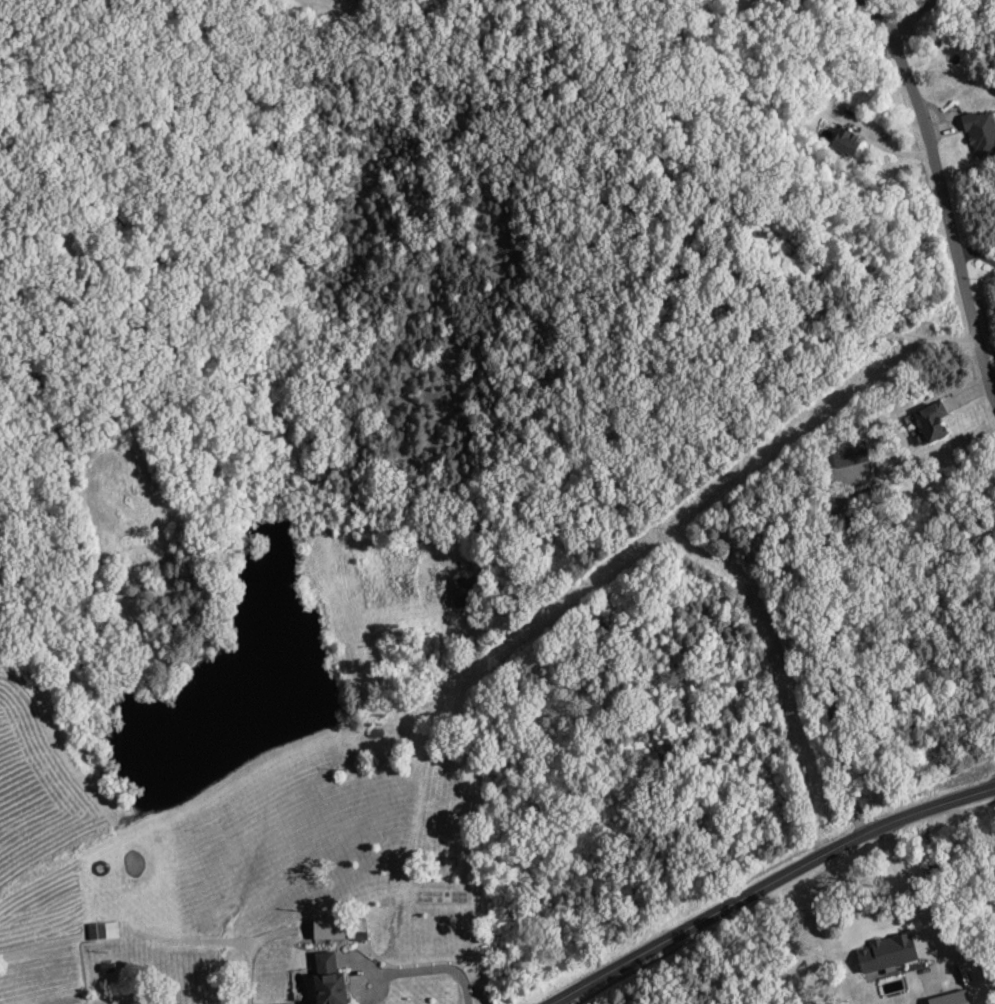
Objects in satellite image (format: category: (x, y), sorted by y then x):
road: (887, 15)
road: (912, 16)
building: (979, 135)
building: (843, 143)
road: (949, 212)
road: (978, 255)
building: (929, 423)
building: (463, 594)
road: (832, 650)
road: (773, 884)
road: (937, 921)
building: (102, 933)
road: (216, 946)
building: (885, 956)
road: (427, 974)
building: (325, 980)

